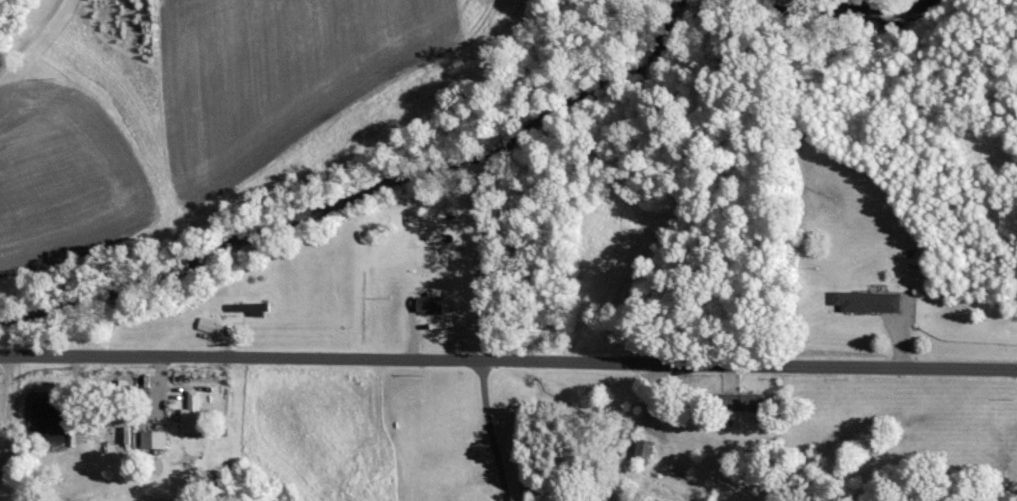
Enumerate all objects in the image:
building: (870, 303)
building: (432, 304)
road: (508, 356)
building: (744, 402)
building: (193, 414)
building: (154, 439)

